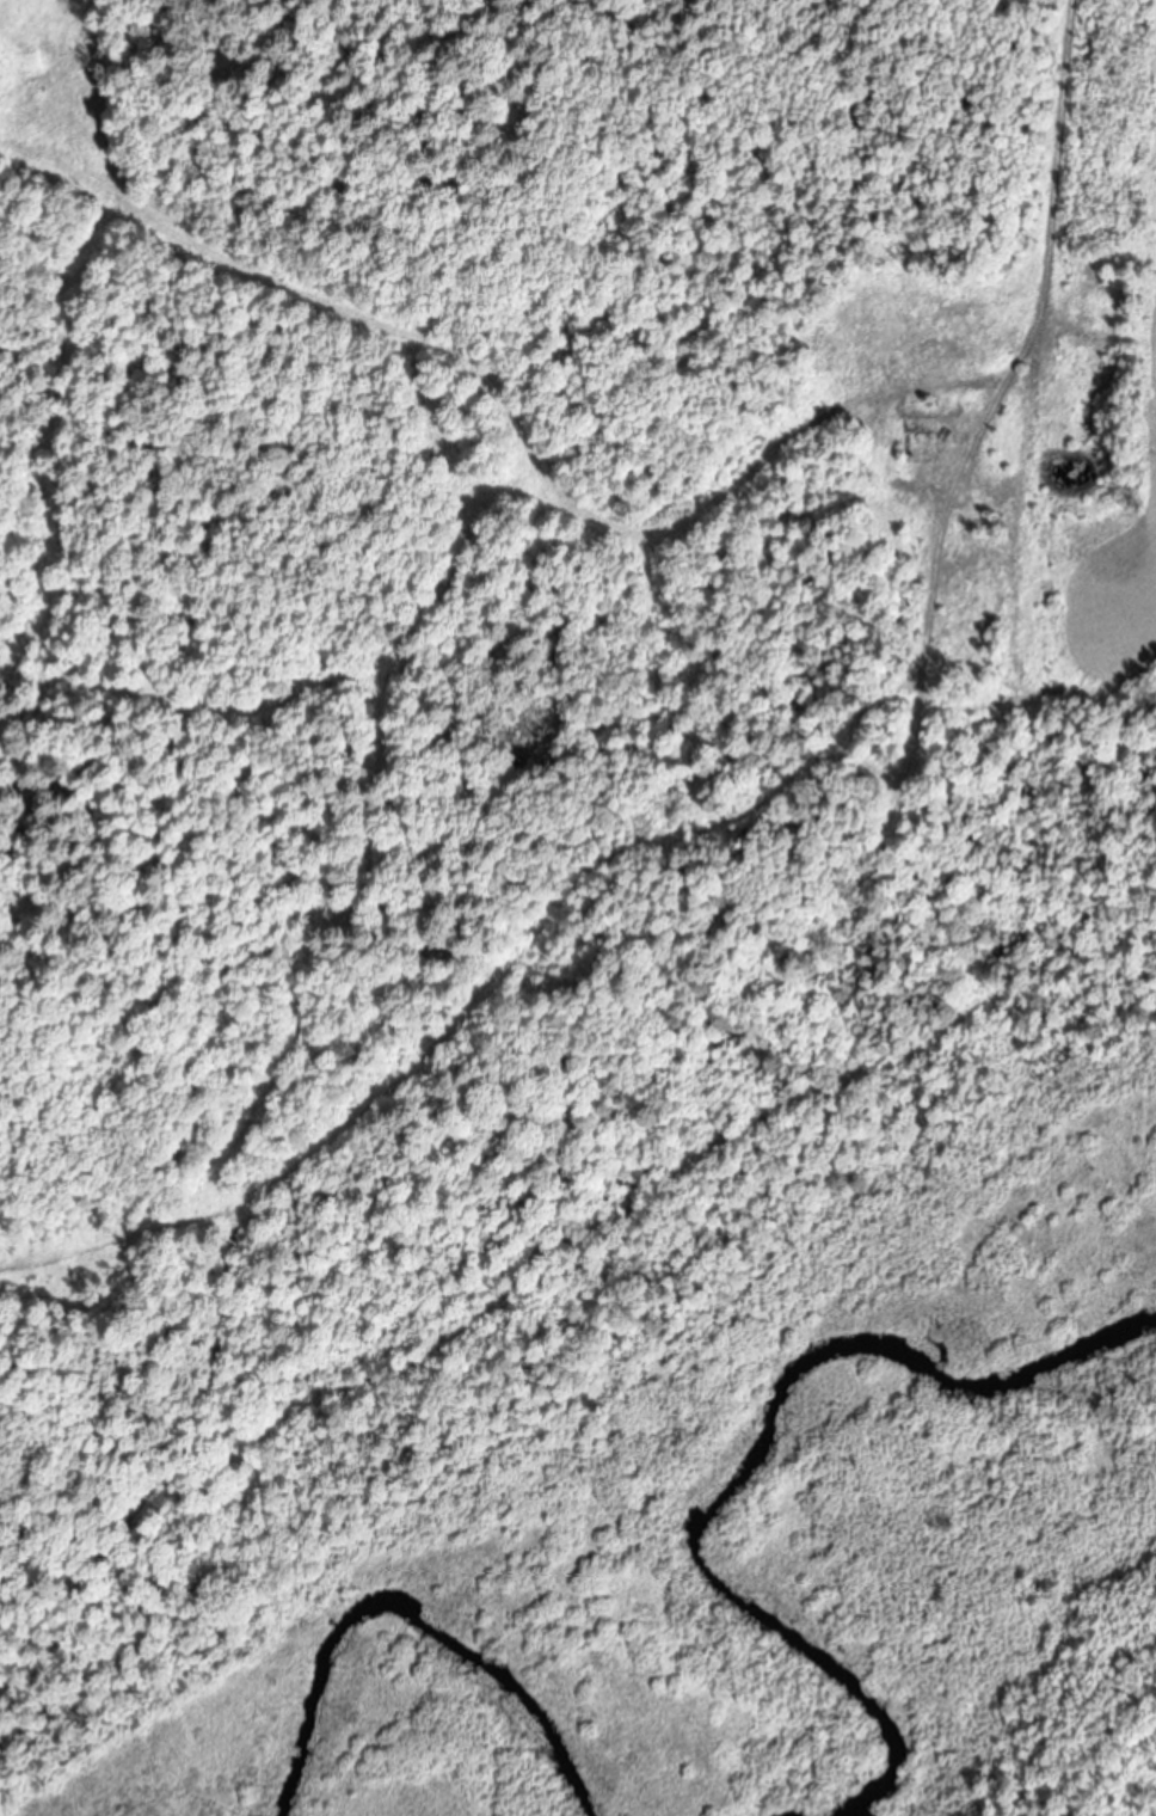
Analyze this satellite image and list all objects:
building: (931, 432)

